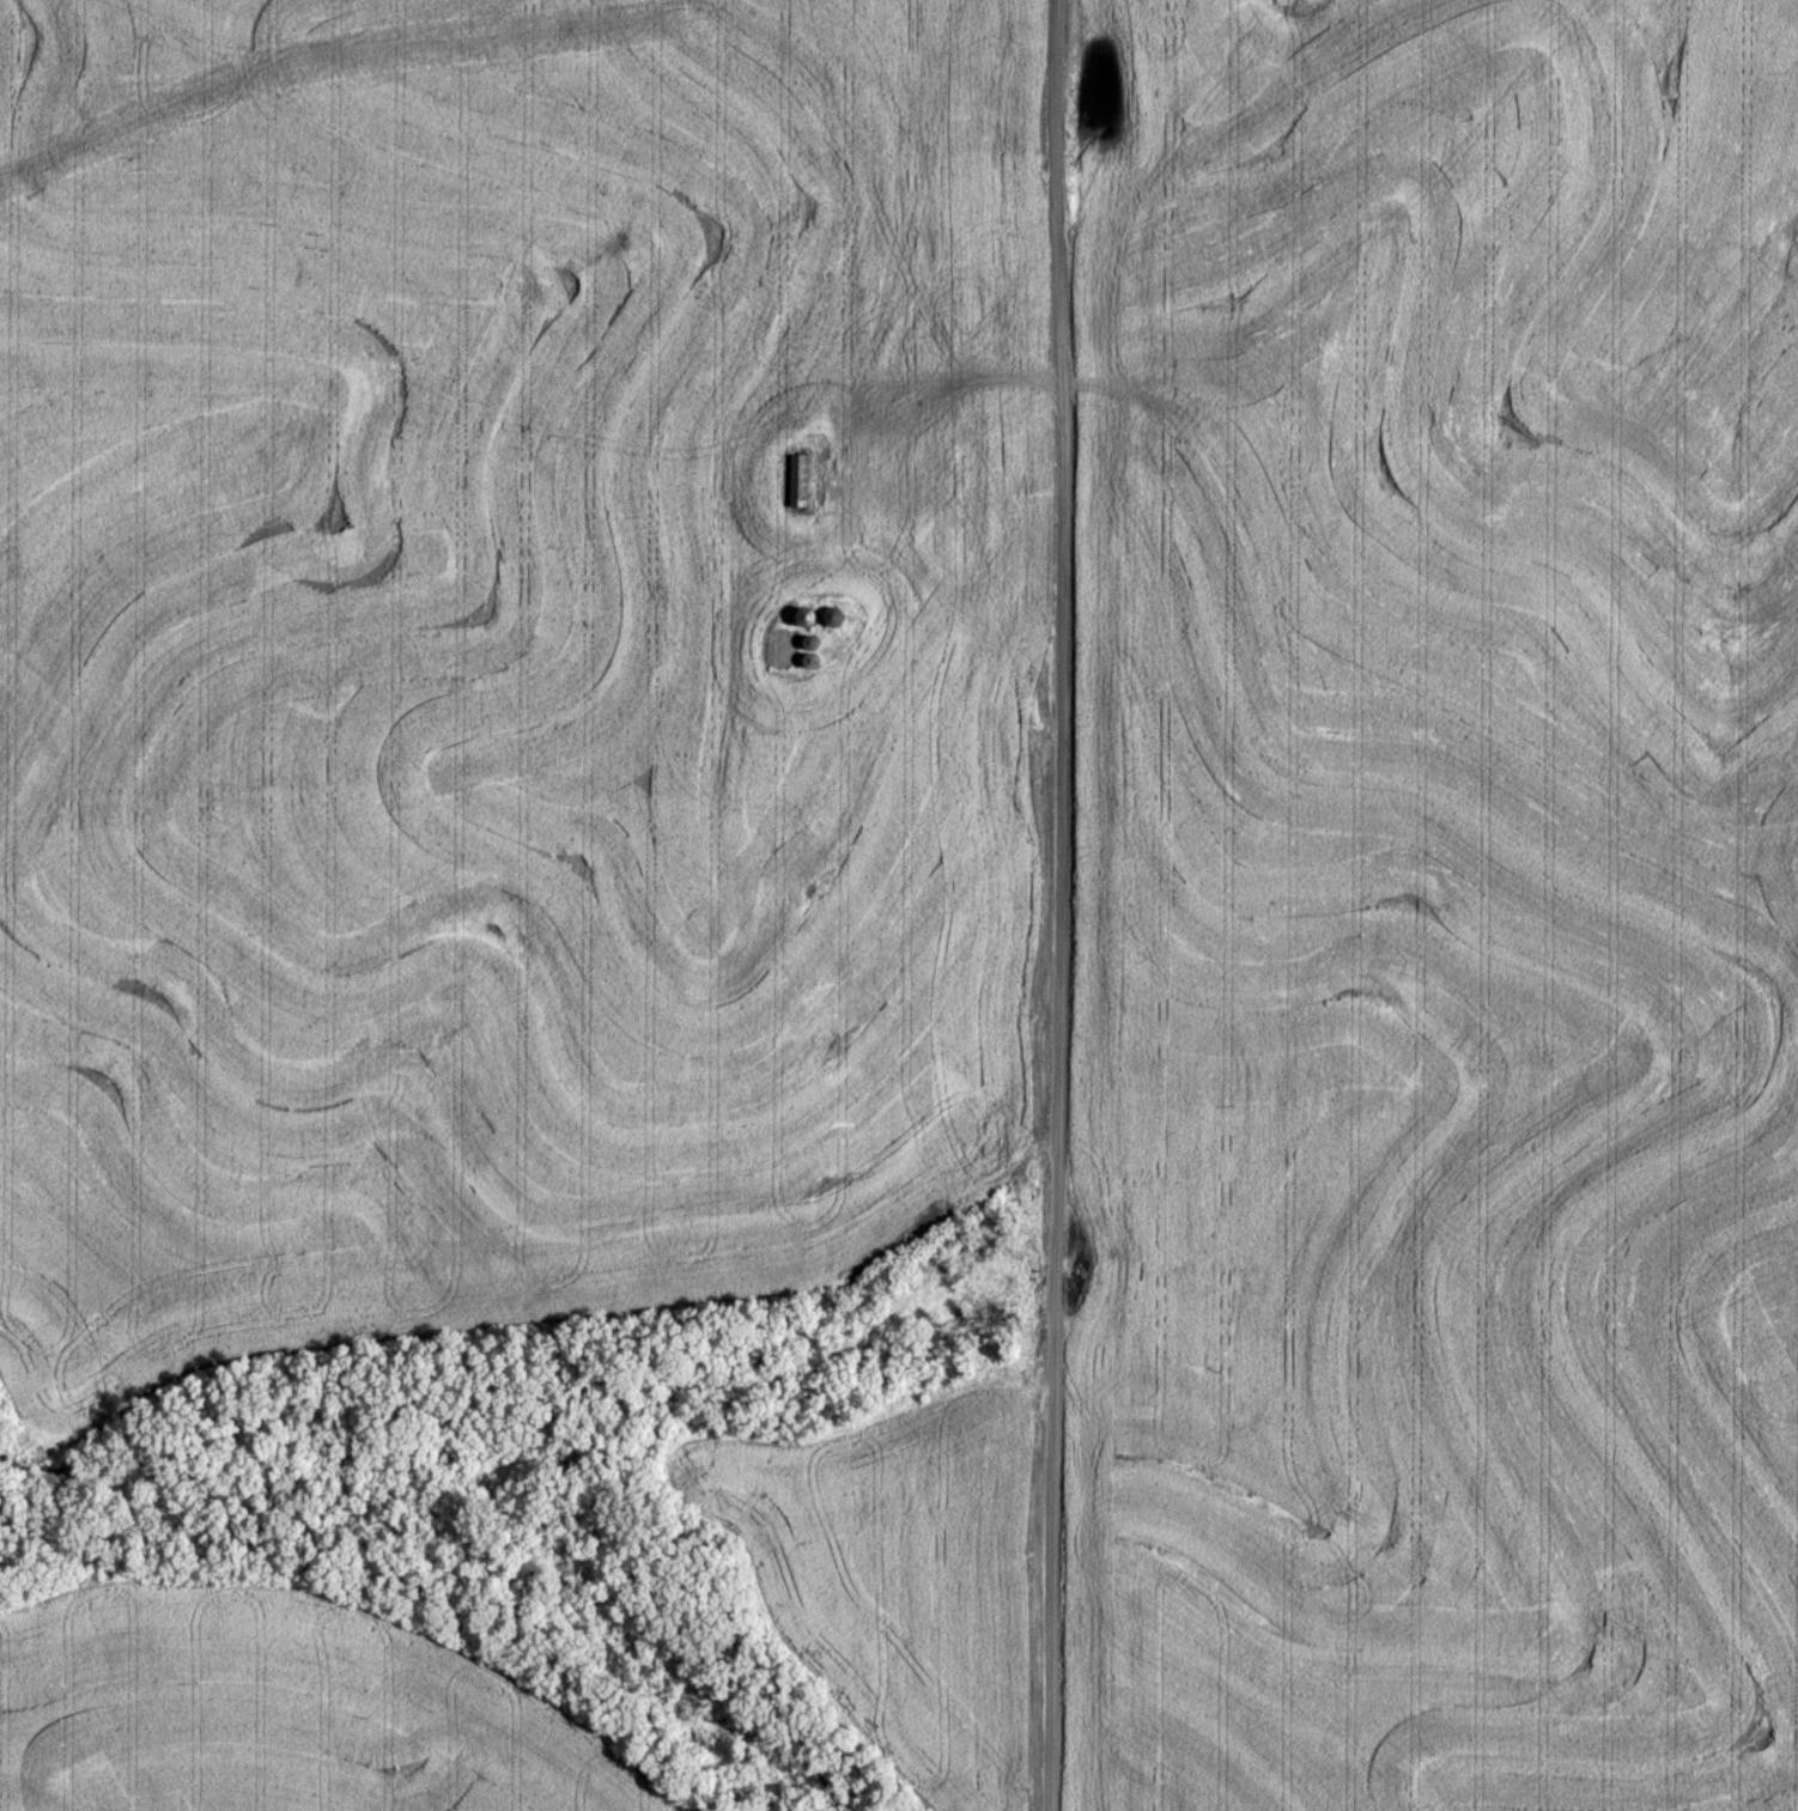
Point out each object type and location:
building: (797, 479)
road: (1069, 905)

